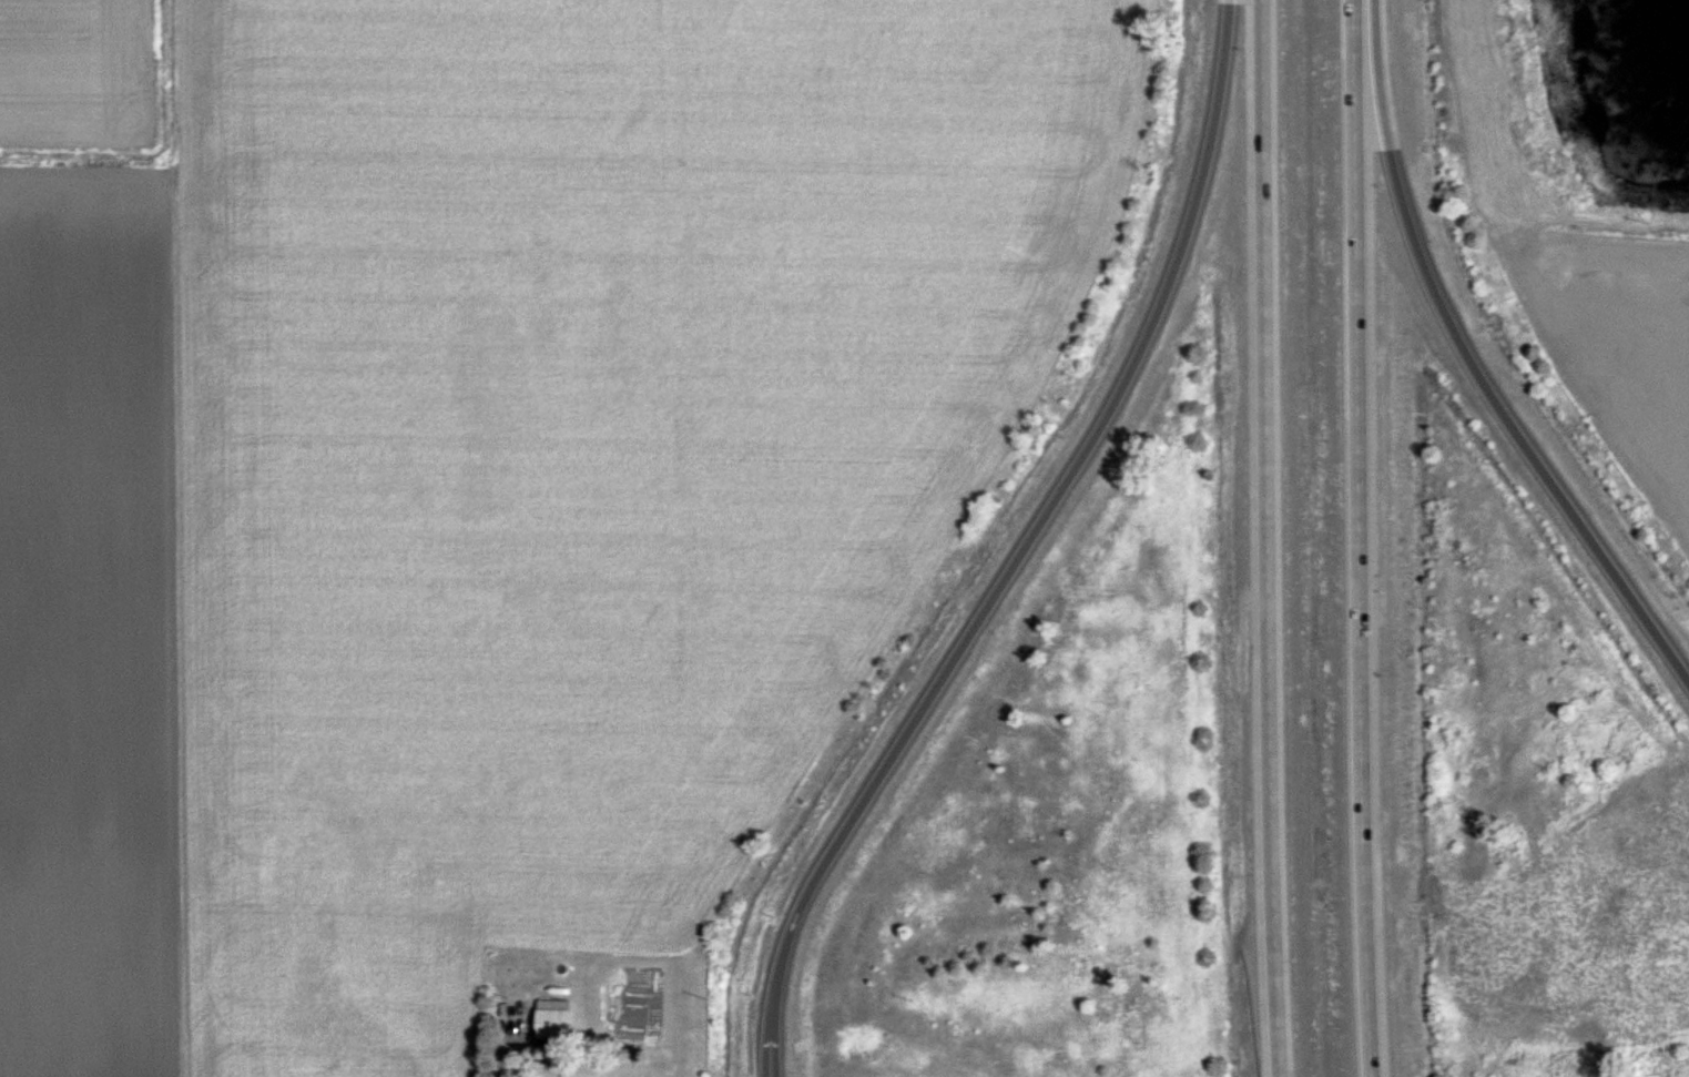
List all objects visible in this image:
road: (1469, 366)
road: (1022, 534)
road: (1264, 538)
road: (1356, 538)
building: (548, 1014)
road: (766, 1060)
building: (569, 1075)

